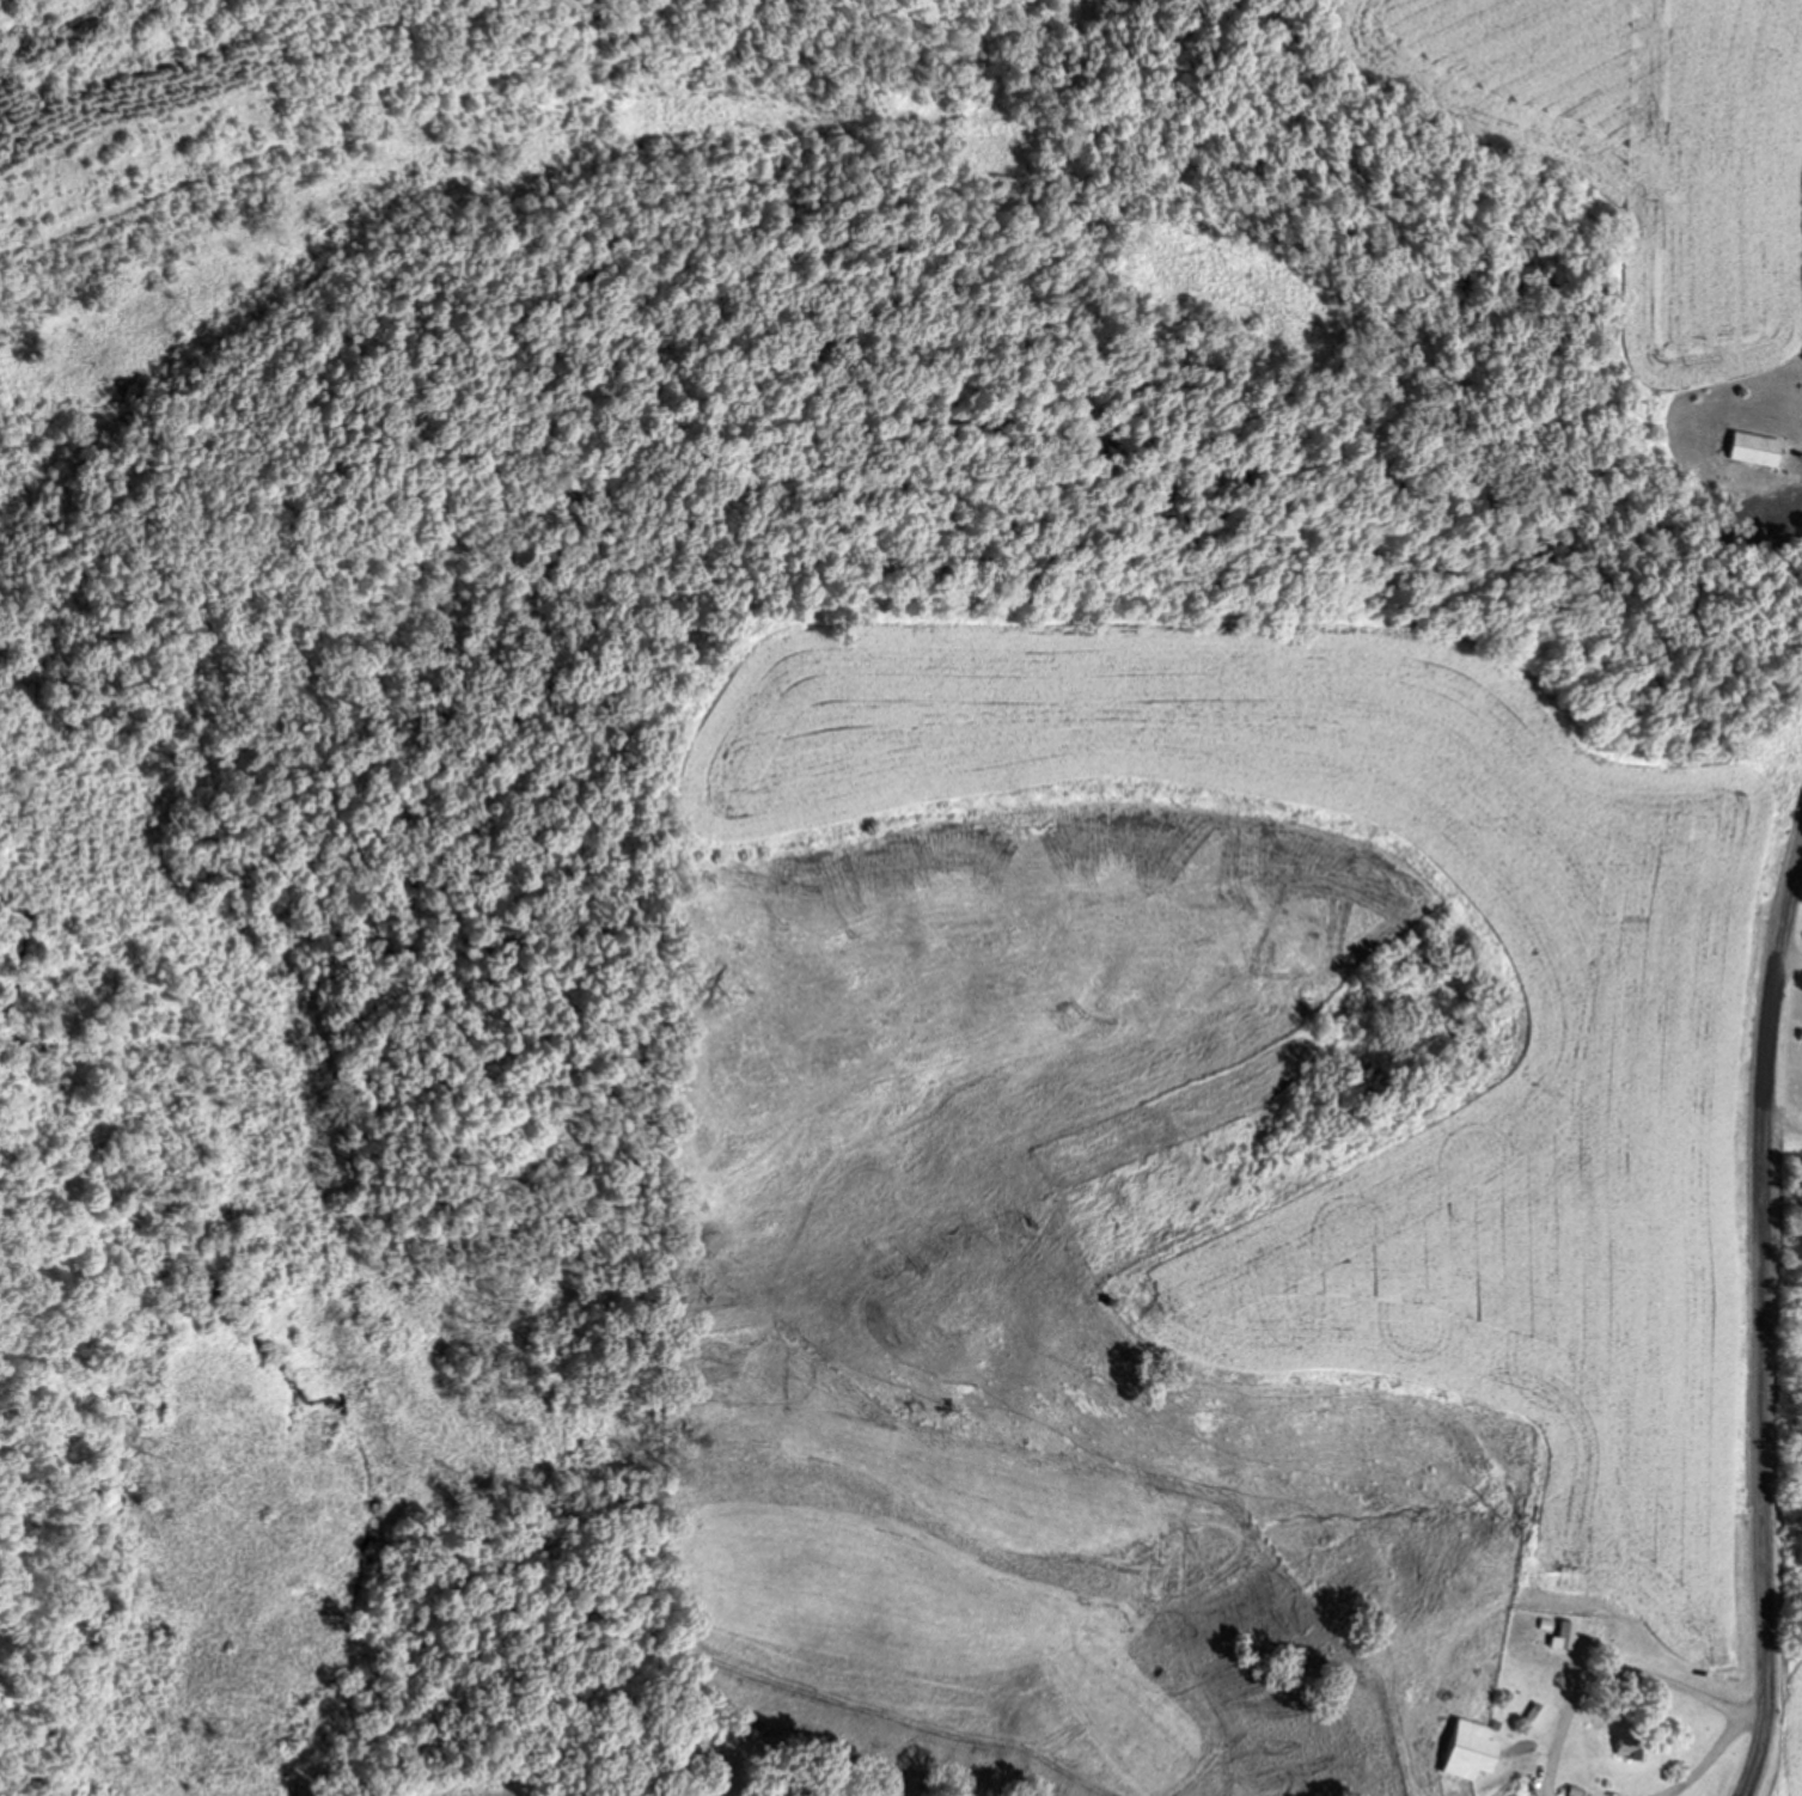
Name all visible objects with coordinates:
building: (1748, 448)
road: (1788, 1129)
road: (1770, 1328)
building: (1563, 1633)
road: (1659, 1681)
road: (1757, 1719)
building: (1464, 1754)

